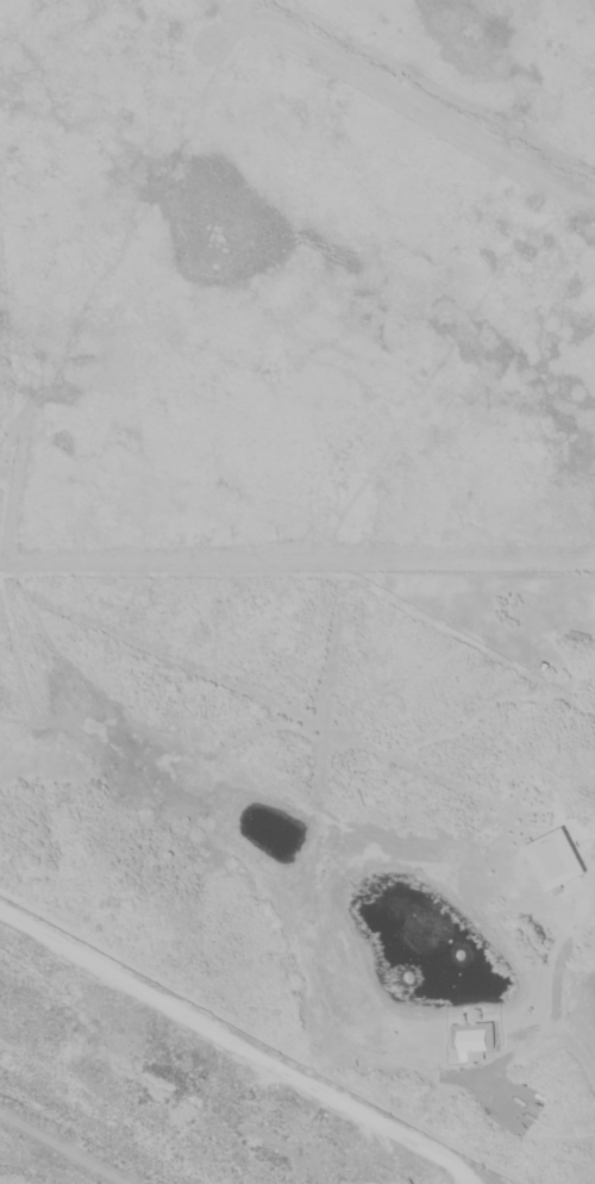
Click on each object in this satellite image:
road: (557, 999)
road: (237, 1042)
building: (475, 1042)
power plant: (171, 1088)
road: (59, 1149)

